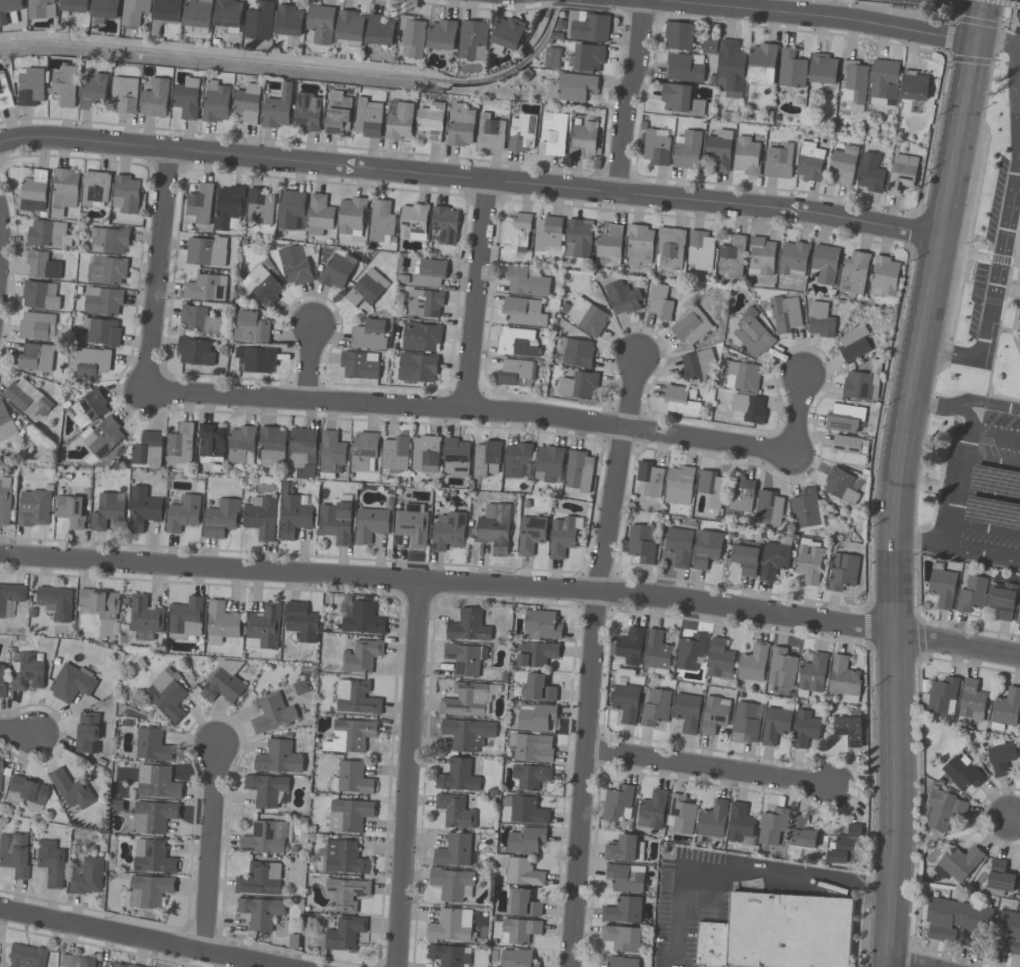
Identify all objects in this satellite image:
building: (76, 8)
building: (106, 9)
building: (10, 10)
building: (42, 10)
building: (135, 13)
building: (229, 14)
parking lot: (1018, 14)
building: (165, 15)
road: (814, 15)
building: (198, 16)
road: (978, 20)
building: (290, 21)
building: (260, 22)
building: (321, 25)
building: (586, 27)
building: (351, 28)
building: (381, 31)
building: (507, 33)
building: (443, 35)
building: (679, 37)
building: (413, 38)
traffic signals: (975, 40)
building: (473, 41)
road: (997, 41)
building: (552, 58)
building: (587, 58)
building: (762, 65)
building: (685, 68)
building: (731, 69)
building: (823, 69)
building: (792, 70)
building: (884, 80)
building: (854, 82)
building: (65, 86)
building: (914, 87)
building: (30, 88)
building: (572, 89)
building: (93, 91)
building: (5, 93)
road: (627, 95)
building: (125, 96)
road: (1017, 97)
building: (156, 99)
building: (188, 99)
building: (681, 101)
building: (217, 102)
building: (249, 103)
building: (279, 110)
road: (1014, 110)
building: (308, 112)
building: (339, 114)
building: (369, 118)
building: (400, 121)
building: (432, 121)
building: (462, 126)
building: (491, 133)
building: (553, 133)
building: (522, 134)
road: (957, 138)
building: (584, 140)
building: (656, 149)
building: (688, 151)
building: (718, 154)
building: (748, 156)
building: (779, 161)
building: (810, 162)
building: (843, 165)
building: (870, 174)
building: (902, 175)
road: (470, 177)
building: (65, 188)
building: (34, 190)
building: (95, 190)
building: (127, 194)
building: (199, 206)
building: (260, 207)
building: (229, 208)
building: (291, 211)
building: (320, 216)
building: (352, 216)
building: (382, 221)
building: (414, 222)
building: (445, 225)
building: (516, 233)
building: (48, 235)
building: (547, 235)
building: (578, 239)
building: (109, 240)
building: (609, 244)
building: (639, 246)
building: (670, 248)
building: (206, 251)
building: (700, 251)
building: (762, 257)
building: (731, 258)
building: (793, 259)
building: (825, 264)
road: (997, 264)
building: (295, 265)
building: (42, 266)
building: (106, 271)
road: (156, 271)
building: (338, 271)
building: (429, 273)
building: (854, 273)
building: (885, 277)
building: (526, 283)
building: (263, 287)
building: (205, 288)
building: (368, 289)
road: (929, 292)
road: (475, 294)
building: (41, 296)
building: (622, 298)
building: (103, 302)
building: (659, 303)
building: (425, 304)
building: (522, 313)
building: (786, 314)
building: (1018, 314)
building: (586, 318)
building: (821, 320)
building: (199, 322)
building: (1019, 324)
building: (37, 326)
building: (691, 327)
building: (251, 328)
building: (100, 332)
building: (370, 335)
building: (754, 336)
building: (421, 338)
building: (1019, 341)
building: (518, 343)
building: (854, 346)
building: (196, 352)
building: (574, 354)
road: (949, 354)
building: (35, 358)
building: (255, 361)
road: (308, 361)
building: (89, 363)
building: (359, 366)
building: (697, 366)
building: (417, 368)
building: (514, 372)
road: (914, 374)
building: (740, 376)
building: (579, 386)
building: (858, 387)
building: (27, 400)
building: (679, 401)
road: (986, 404)
road: (931, 405)
building: (89, 409)
road: (469, 409)
building: (747, 409)
road: (966, 414)
road: (796, 415)
building: (845, 419)
building: (6, 425)
road: (995, 433)
building: (104, 438)
building: (211, 444)
building: (181, 445)
building: (241, 445)
building: (273, 447)
building: (849, 450)
building: (304, 451)
building: (148, 452)
building: (364, 452)
building: (332, 454)
building: (396, 454)
building: (426, 455)
building: (457, 457)
building: (487, 459)
building: (517, 461)
road: (992, 464)
building: (549, 465)
building: (579, 472)
building: (650, 478)
building: (679, 485)
building: (841, 486)
road: (959, 486)
building: (711, 488)
parking lot: (980, 489)
building: (741, 495)
road: (989, 495)
building: (5, 501)
building: (769, 508)
building: (803, 508)
building: (34, 509)
building: (143, 509)
building: (71, 511)
building: (295, 511)
building: (108, 512)
building: (183, 513)
road: (894, 516)
building: (261, 518)
building: (221, 519)
building: (337, 520)
building: (371, 525)
building: (413, 525)
road: (986, 527)
building: (495, 530)
building: (448, 532)
building: (531, 535)
building: (562, 536)
road: (924, 543)
building: (642, 544)
building: (678, 547)
building: (707, 549)
road: (984, 556)
building: (746, 557)
building: (774, 560)
building: (809, 564)
building: (842, 572)
road: (447, 582)
building: (942, 587)
building: (972, 595)
building: (11, 599)
building: (1003, 600)
building: (99, 601)
building: (56, 602)
building: (1018, 614)
building: (144, 618)
building: (186, 619)
building: (364, 619)
building: (221, 622)
building: (301, 623)
building: (542, 625)
building: (264, 627)
building: (468, 627)
road: (956, 645)
building: (629, 647)
building: (657, 652)
building: (691, 653)
building: (536, 654)
building: (361, 656)
building: (466, 659)
road: (590, 660)
building: (719, 660)
building: (753, 663)
building: (782, 668)
building: (27, 671)
building: (813, 673)
building: (2, 680)
building: (843, 680)
building: (71, 683)
building: (222, 687)
building: (538, 689)
building: (168, 696)
building: (941, 697)
building: (356, 698)
building: (467, 700)
building: (626, 701)
building: (971, 703)
road: (69, 708)
building: (654, 708)
building: (1006, 709)
building: (686, 713)
building: (272, 714)
building: (714, 714)
building: (535, 717)
building: (747, 721)
building: (776, 724)
building: (805, 729)
building: (849, 731)
road: (15, 732)
building: (87, 734)
building: (468, 734)
building: (352, 736)
building: (151, 745)
building: (532, 748)
road: (56, 752)
building: (1001, 757)
building: (279, 758)
road: (705, 766)
building: (962, 773)
building: (0, 774)
road: (405, 774)
building: (531, 776)
building: (457, 777)
building: (354, 778)
building: (158, 783)
building: (71, 790)
building: (268, 791)
building: (29, 792)
road: (921, 795)
road: (893, 800)
building: (618, 805)
building: (526, 810)
building: (652, 810)
building: (455, 811)
building: (945, 811)
building: (680, 815)
building: (350, 816)
building: (153, 818)
building: (712, 819)
road: (1014, 819)
building: (740, 825)
building: (772, 828)
building: (801, 837)
building: (264, 838)
building: (526, 841)
road: (208, 849)
building: (625, 849)
building: (846, 849)
building: (454, 851)
building: (14, 853)
building: (153, 857)
building: (345, 858)
building: (51, 863)
building: (957, 864)
building: (524, 873)
road: (730, 873)
building: (88, 878)
building: (626, 878)
building: (260, 879)
building: (999, 880)
building: (452, 884)
building: (1019, 886)
building: (150, 892)
building: (346, 894)
building: (523, 903)
building: (623, 910)
building: (260, 913)
building: (957, 923)
building: (451, 926)
building: (519, 931)
building: (788, 931)
building: (1006, 932)
building: (345, 934)
road: (142, 938)
building: (623, 939)
building: (712, 944)
building: (449, 956)
building: (27, 957)
building: (515, 958)
building: (76, 962)
building: (622, 962)
road: (906, 962)
building: (117, 966)

